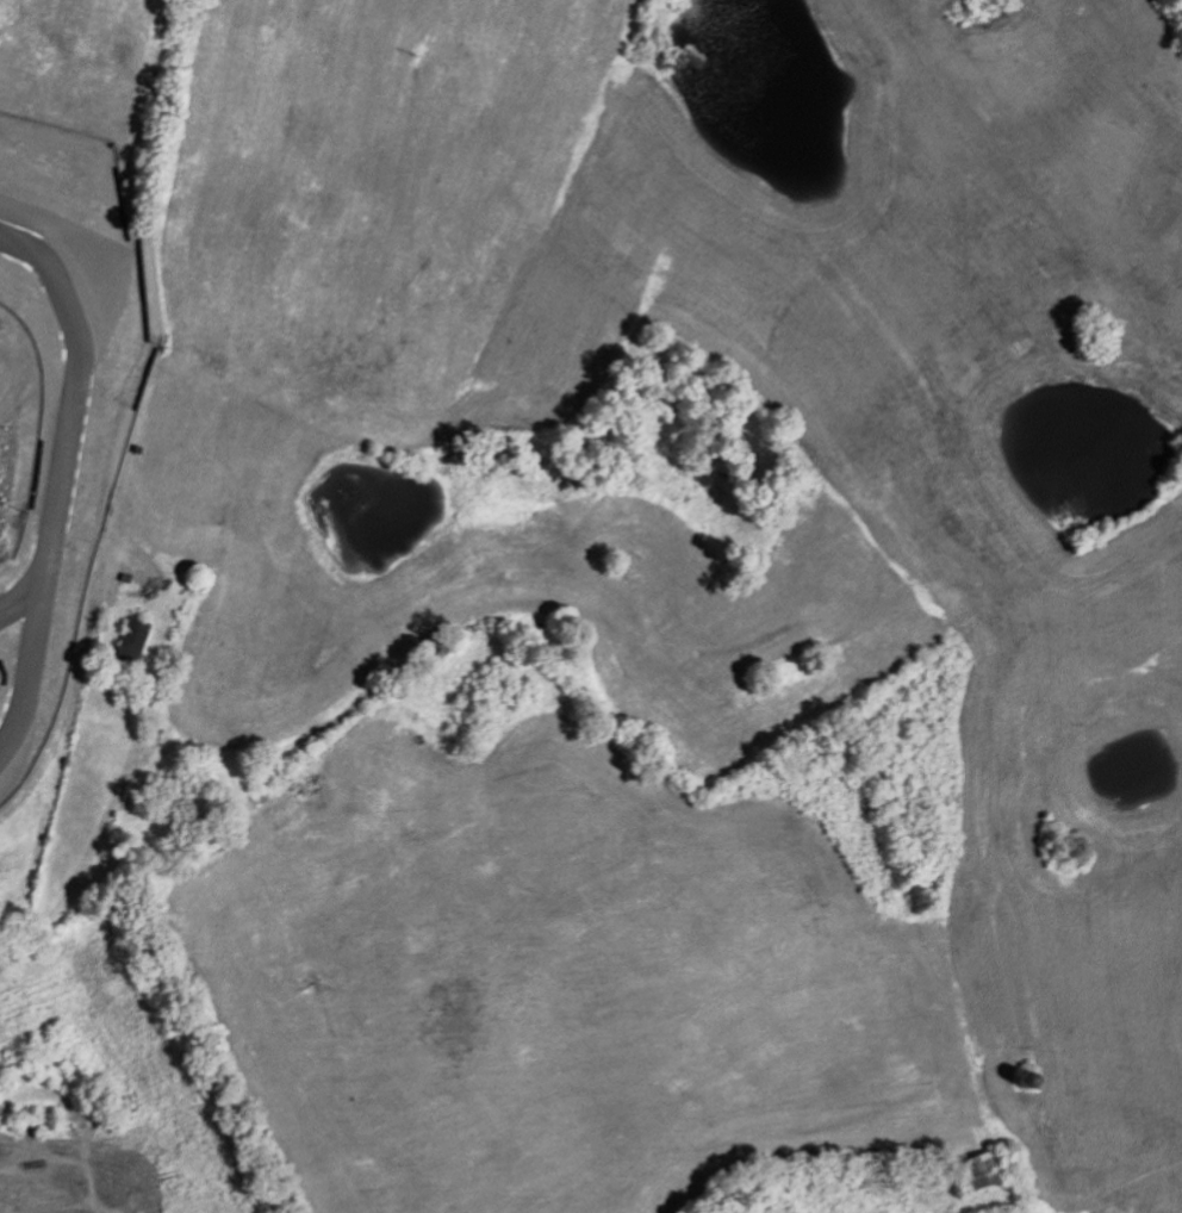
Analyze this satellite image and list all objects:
raceway: (55, 479)
raceway: (18, 597)
building: (130, 640)
building: (978, 1170)

